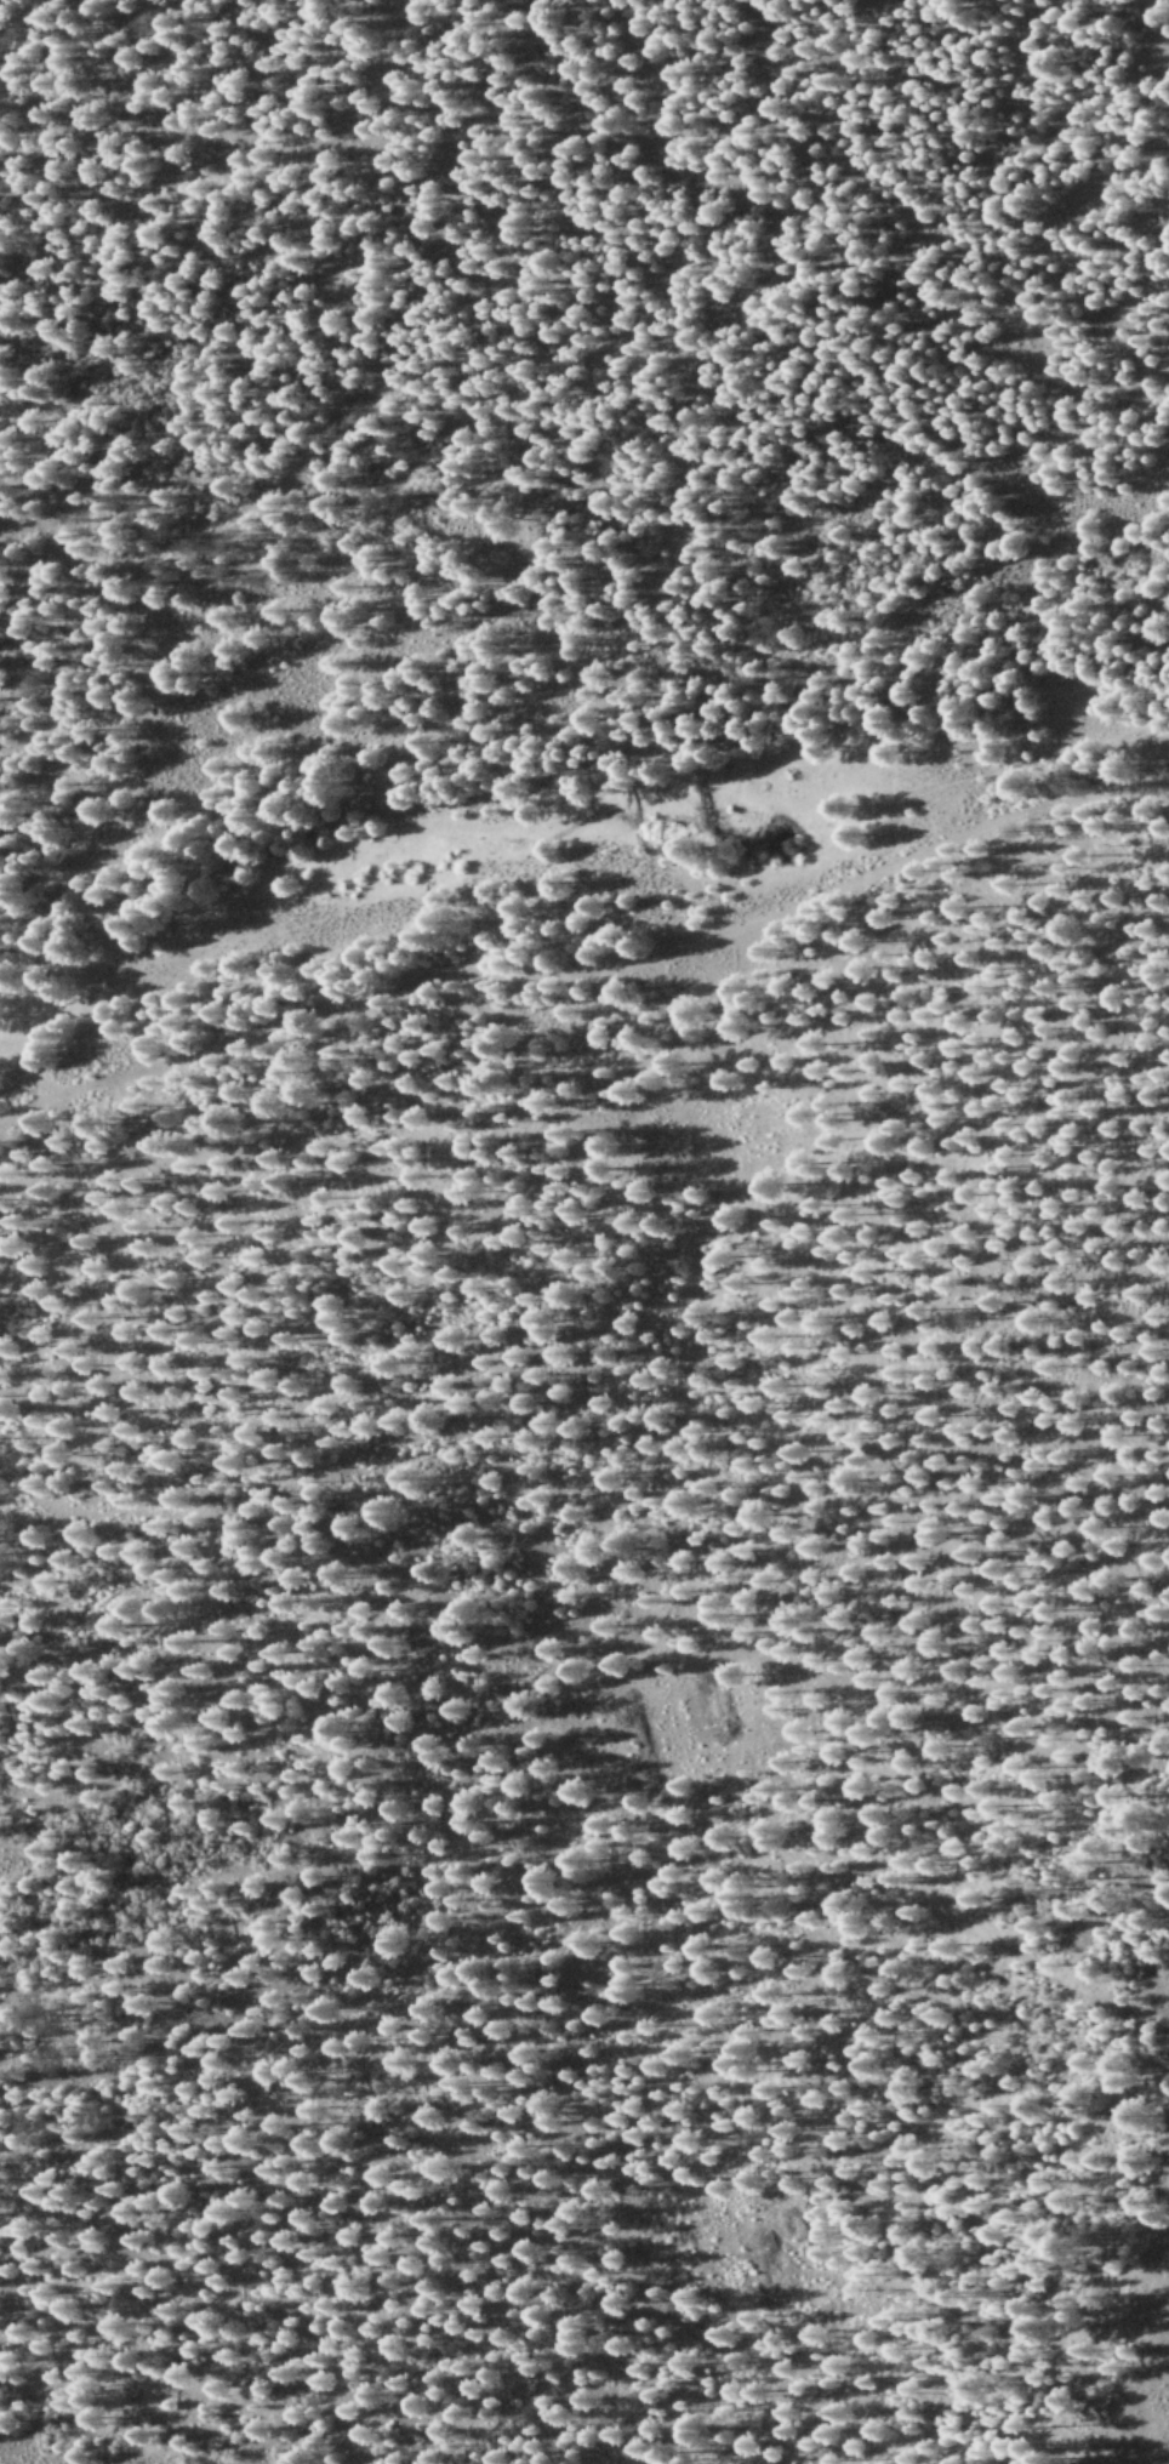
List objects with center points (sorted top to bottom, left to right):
road: (572, 815)

